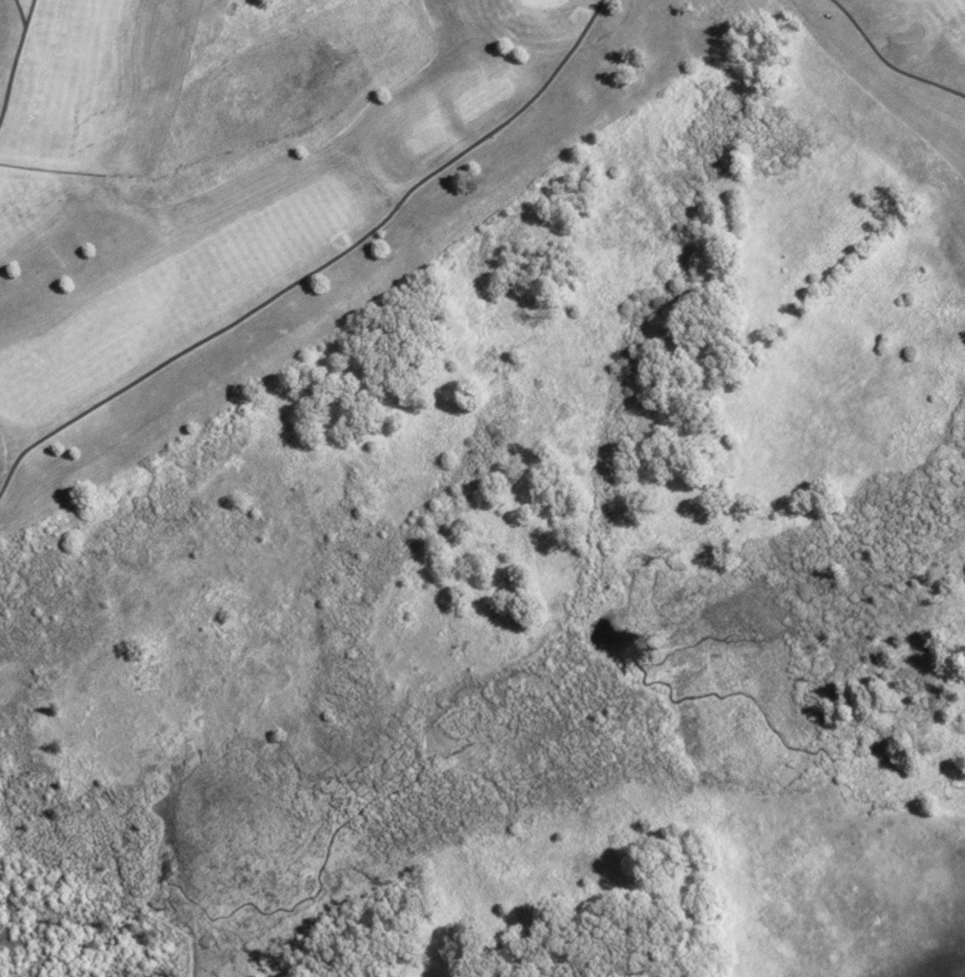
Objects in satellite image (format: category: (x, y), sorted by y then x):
road: (18, 12)
road: (12, 52)
park: (903, 55)
road: (889, 61)
park: (223, 191)
road: (317, 264)

